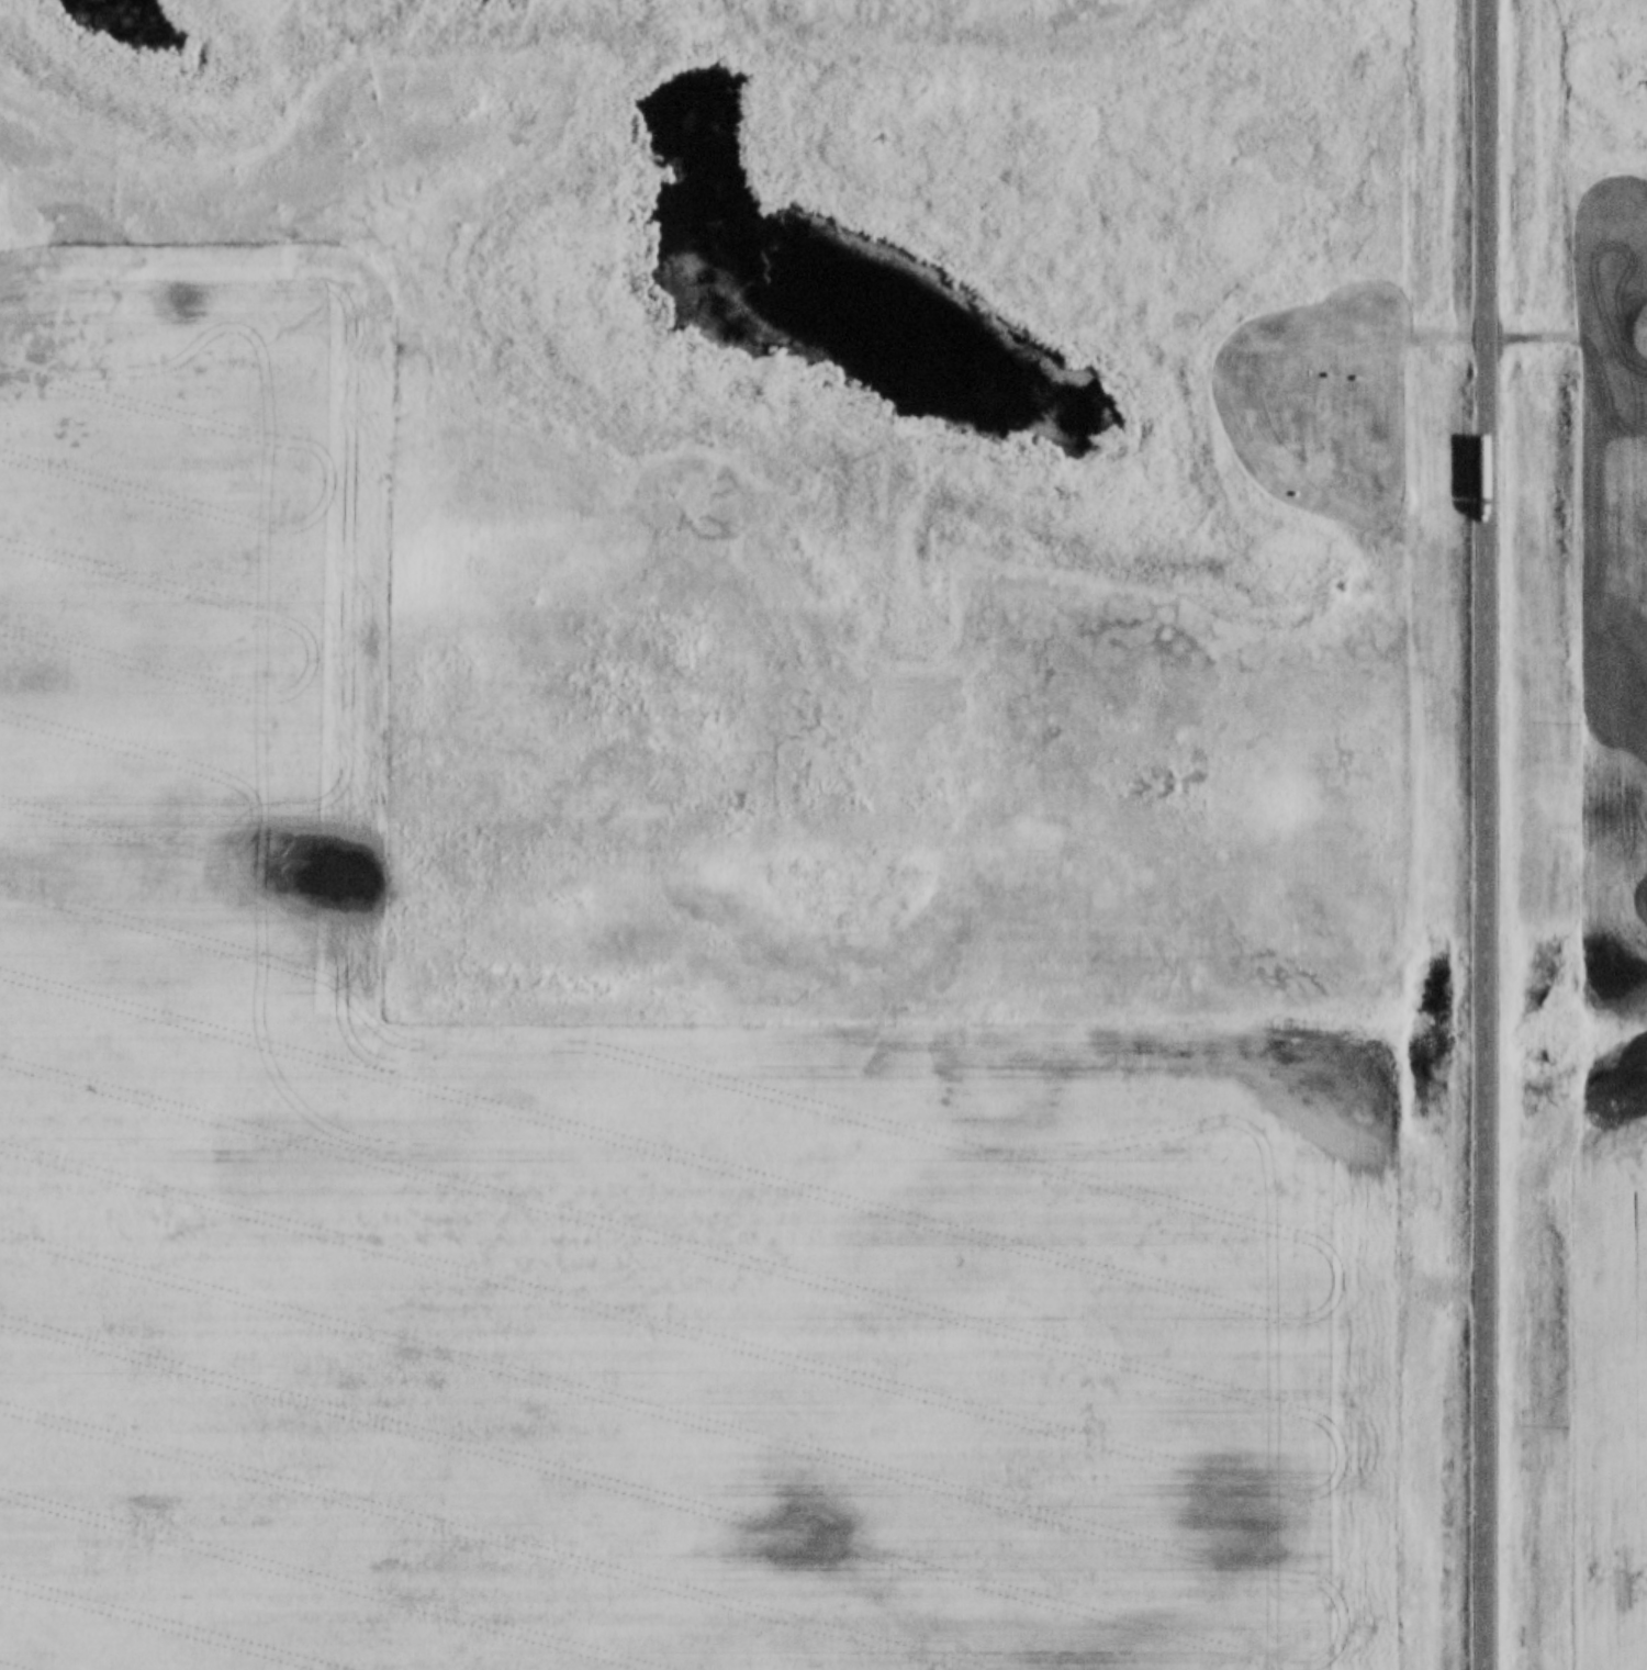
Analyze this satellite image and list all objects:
road: (1480, 834)

